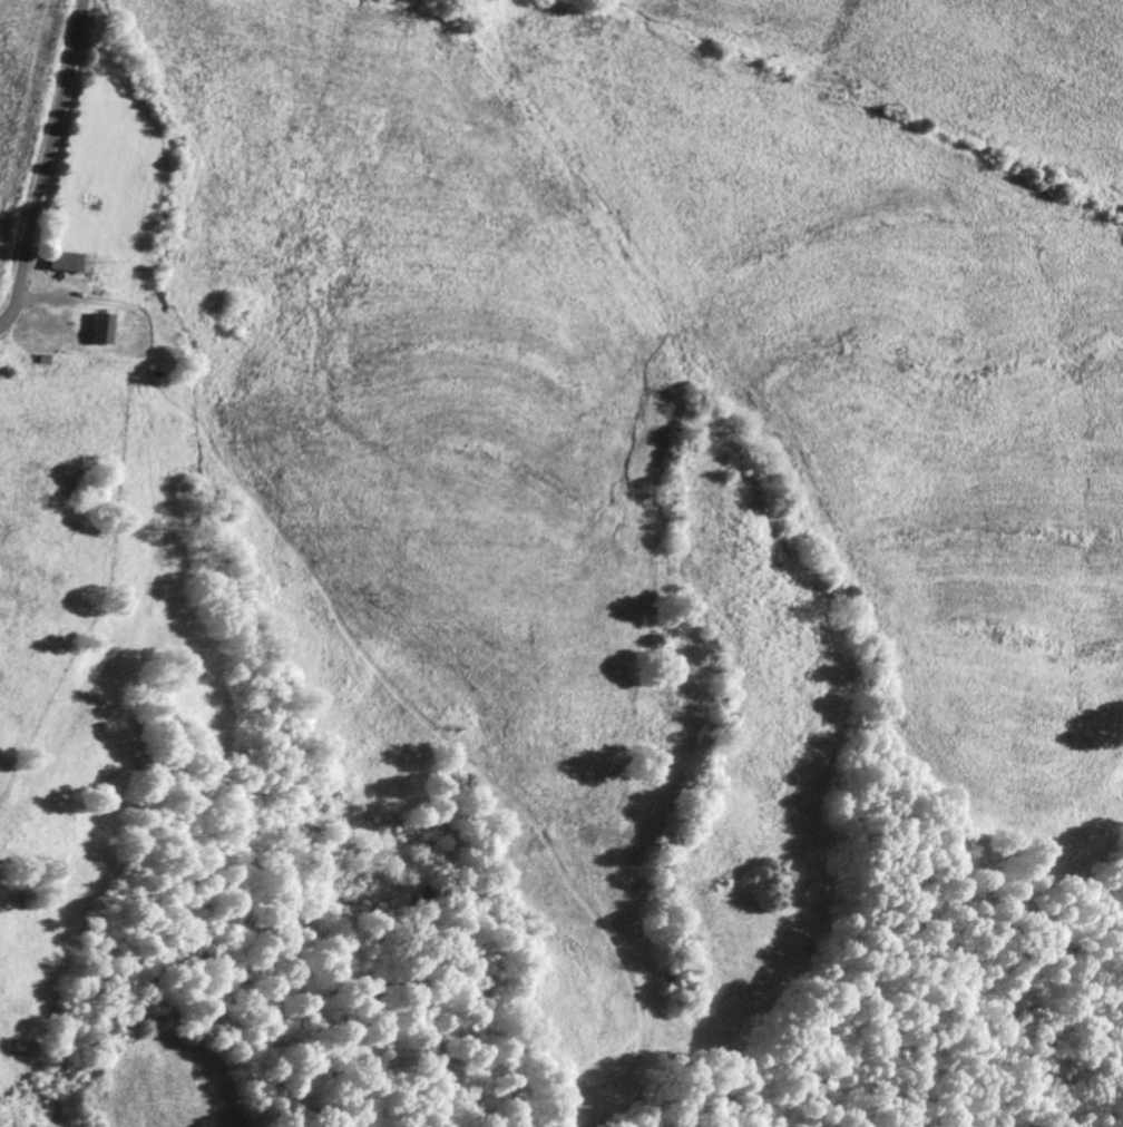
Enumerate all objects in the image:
road: (47, 165)
building: (65, 262)
building: (98, 329)

